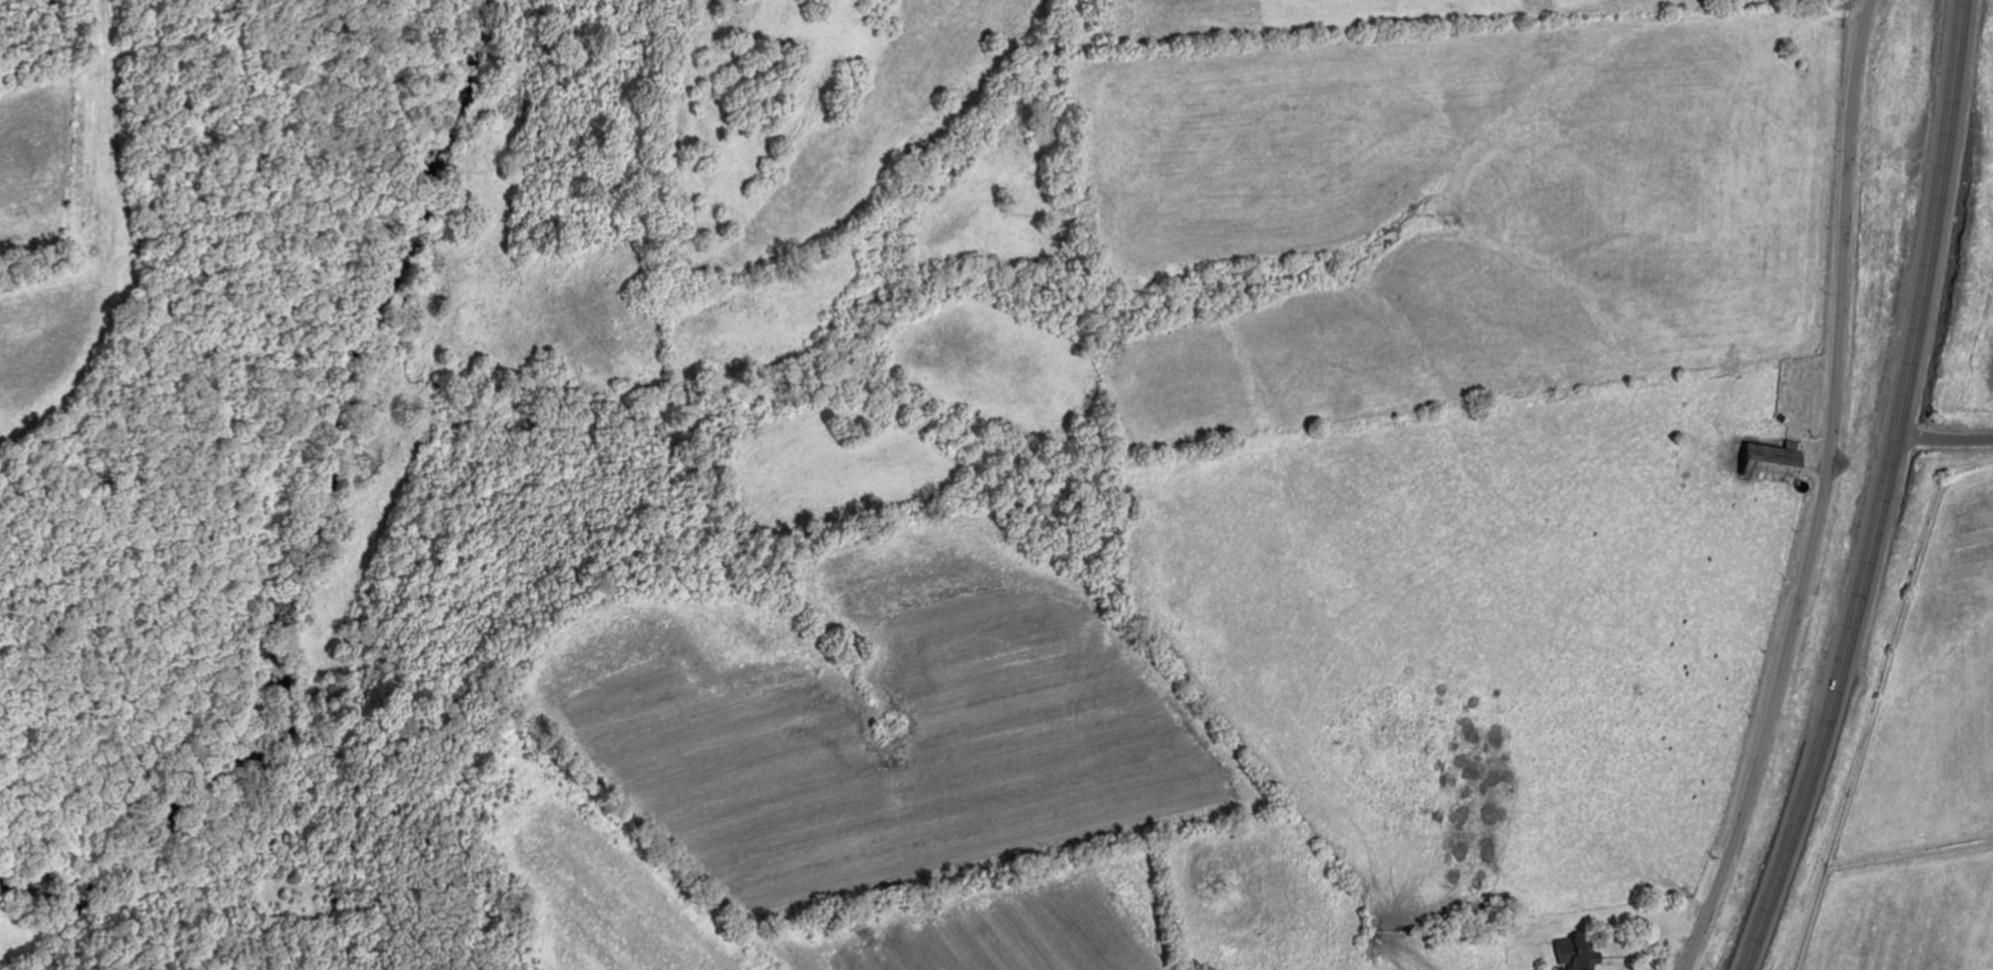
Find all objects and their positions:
road: (1945, 440)
building: (1778, 463)
road: (1886, 492)
road: (1822, 493)
building: (1583, 953)

